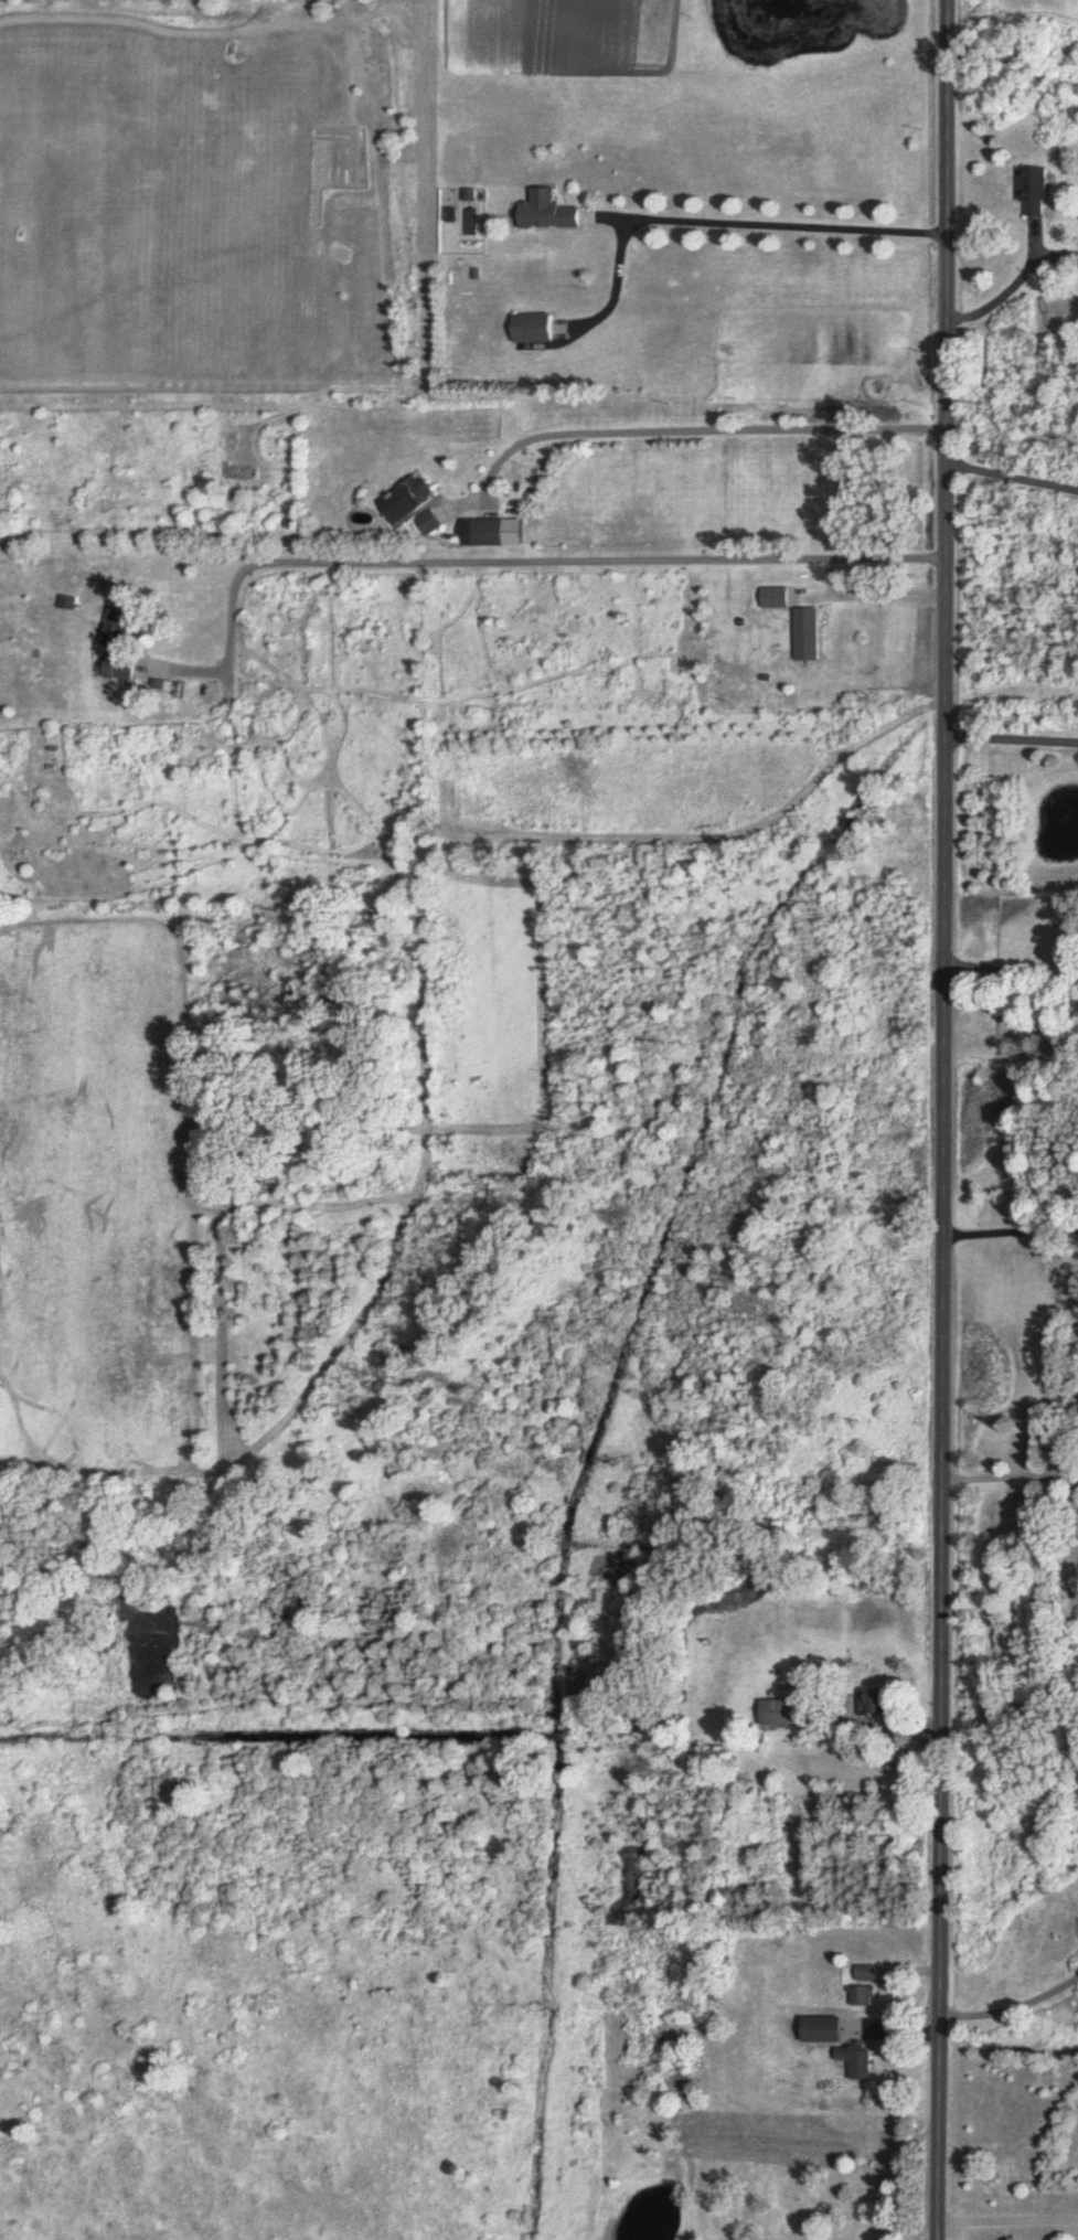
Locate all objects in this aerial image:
building: (1034, 185)
building: (552, 213)
road: (719, 224)
road: (1011, 288)
building: (534, 329)
road: (682, 429)
road: (1013, 467)
building: (410, 500)
building: (431, 523)
building: (491, 534)
road: (521, 559)
road: (871, 597)
building: (807, 636)
building: (120, 648)
road: (1013, 729)
road: (1011, 969)
road: (947, 1119)
road: (1012, 1230)
road: (1012, 1479)
building: (873, 1703)
building: (785, 1714)
building: (864, 1975)
building: (858, 1997)
road: (1012, 2004)
building: (821, 2030)
building: (854, 2062)
road: (1011, 2219)

